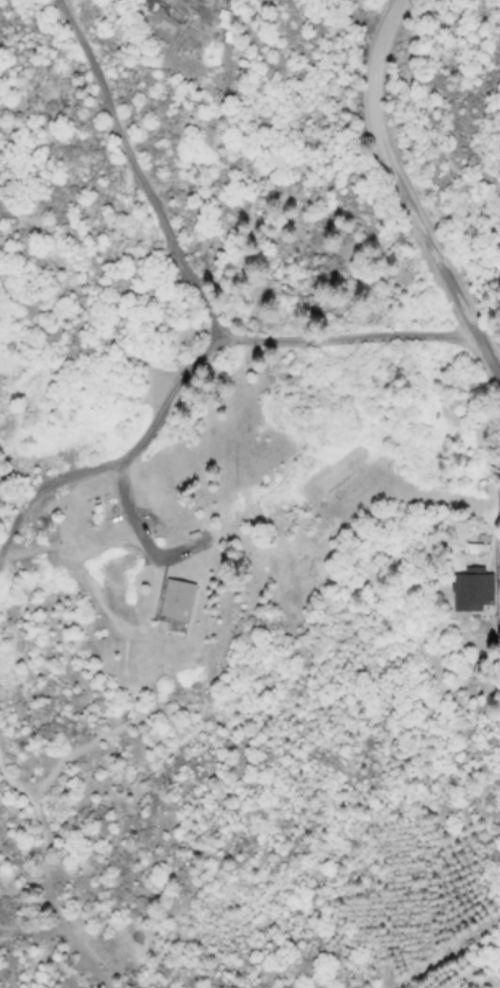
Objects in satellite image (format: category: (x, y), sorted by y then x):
road: (403, 195)
road: (191, 284)
building: (472, 590)
building: (176, 601)

